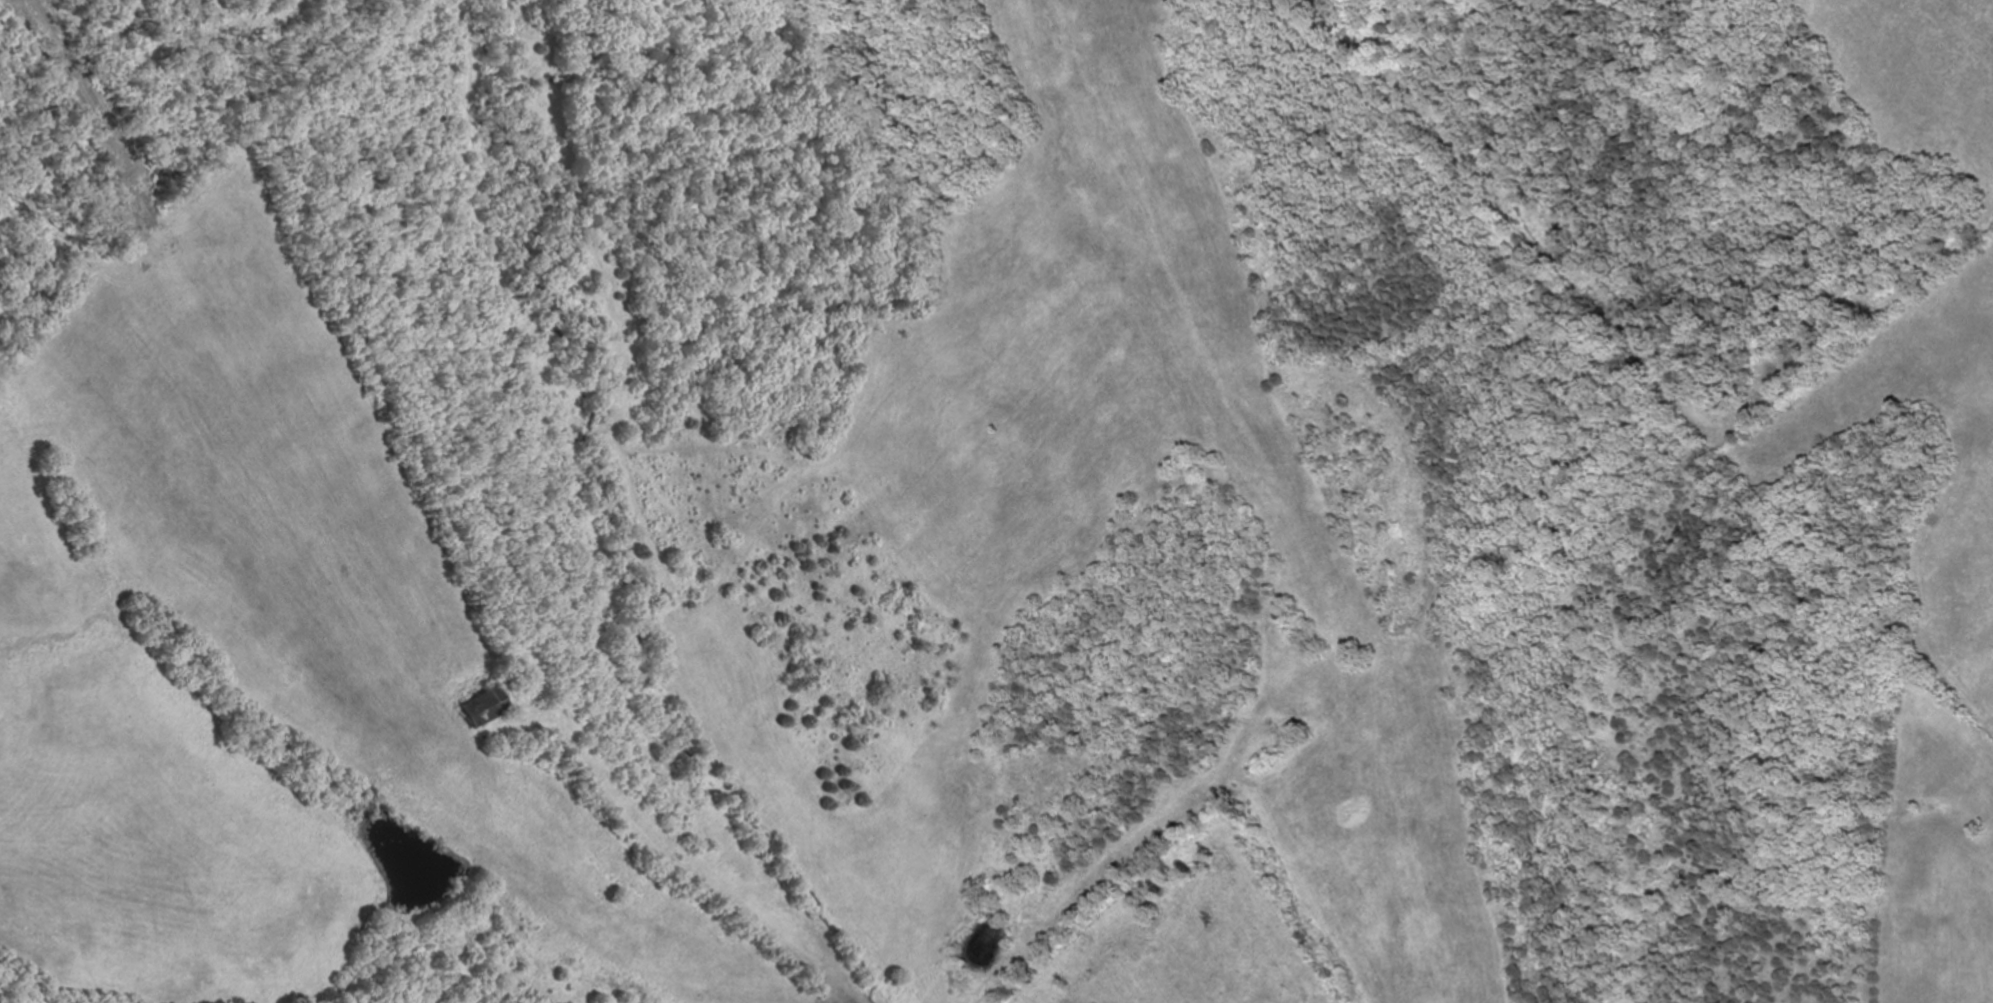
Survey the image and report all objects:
building: (477, 708)
road: (1206, 858)
road: (594, 862)

